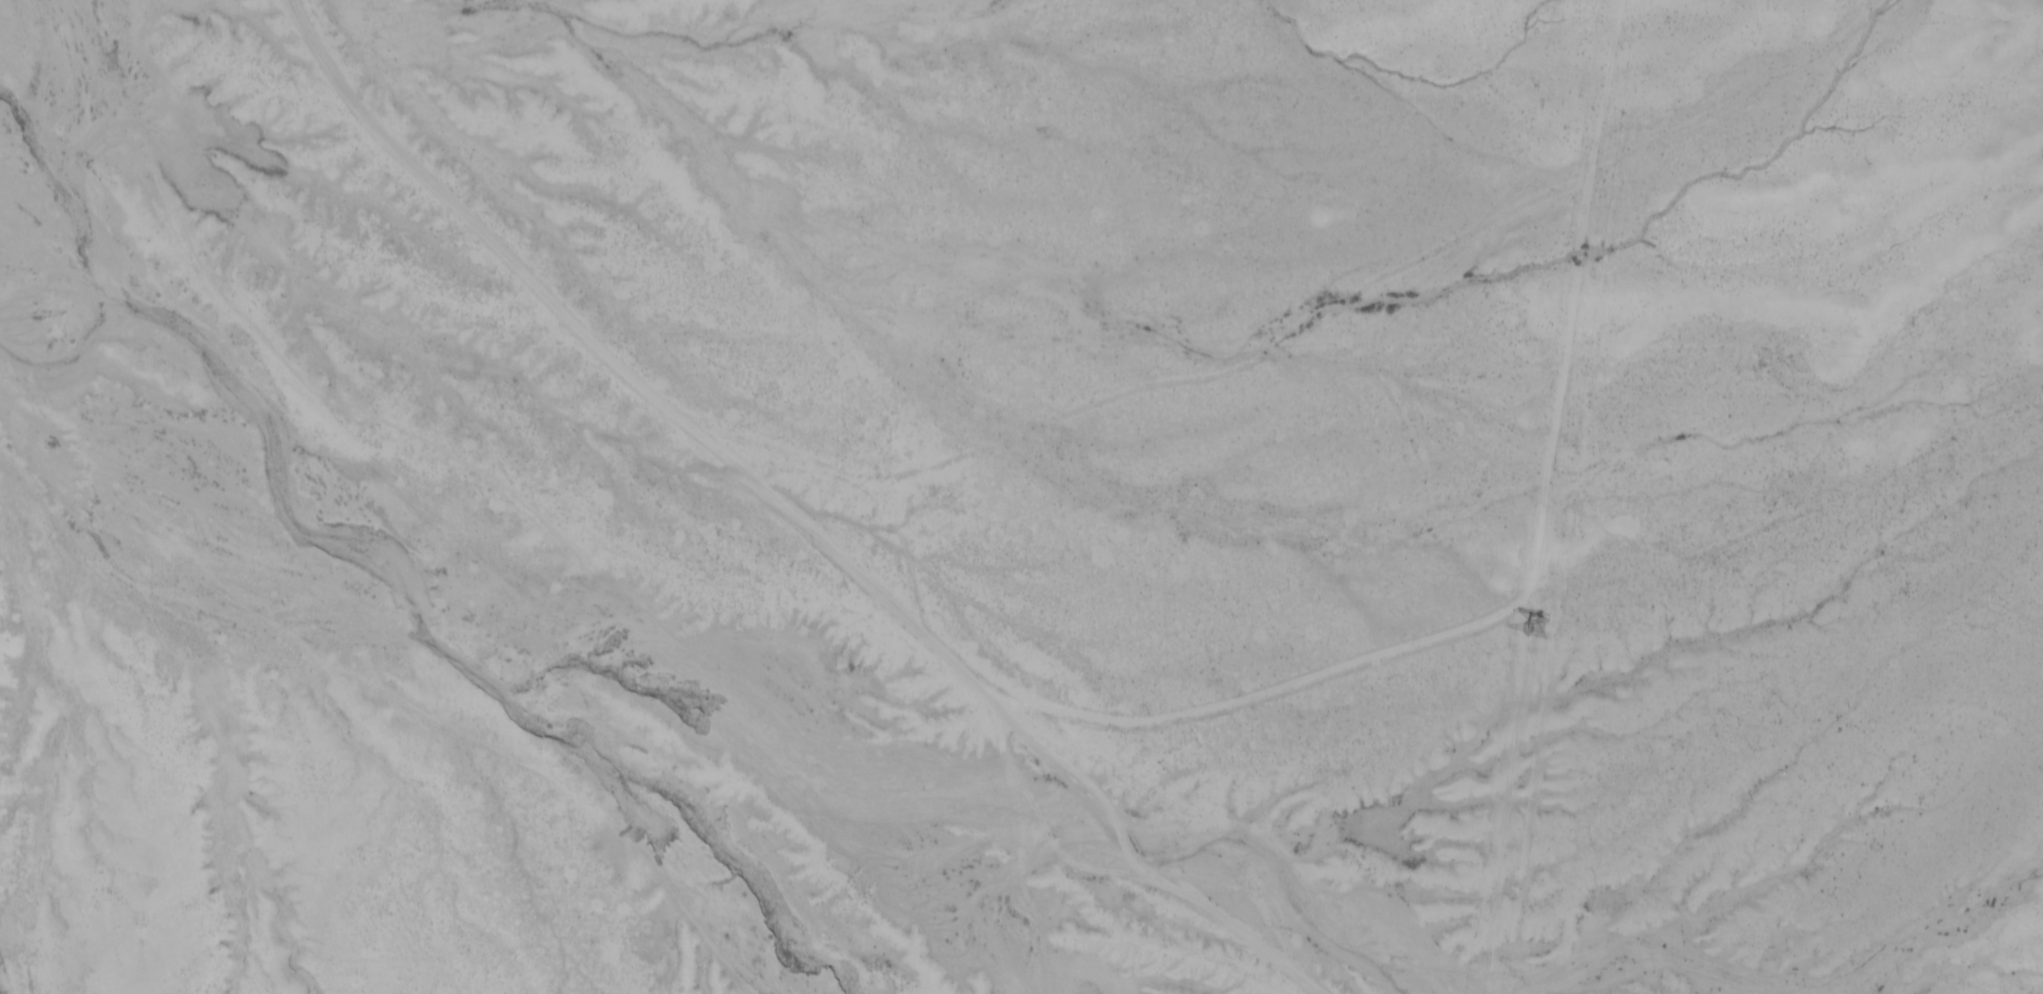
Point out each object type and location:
road: (791, 509)
river: (346, 547)
power tower: (1540, 632)

